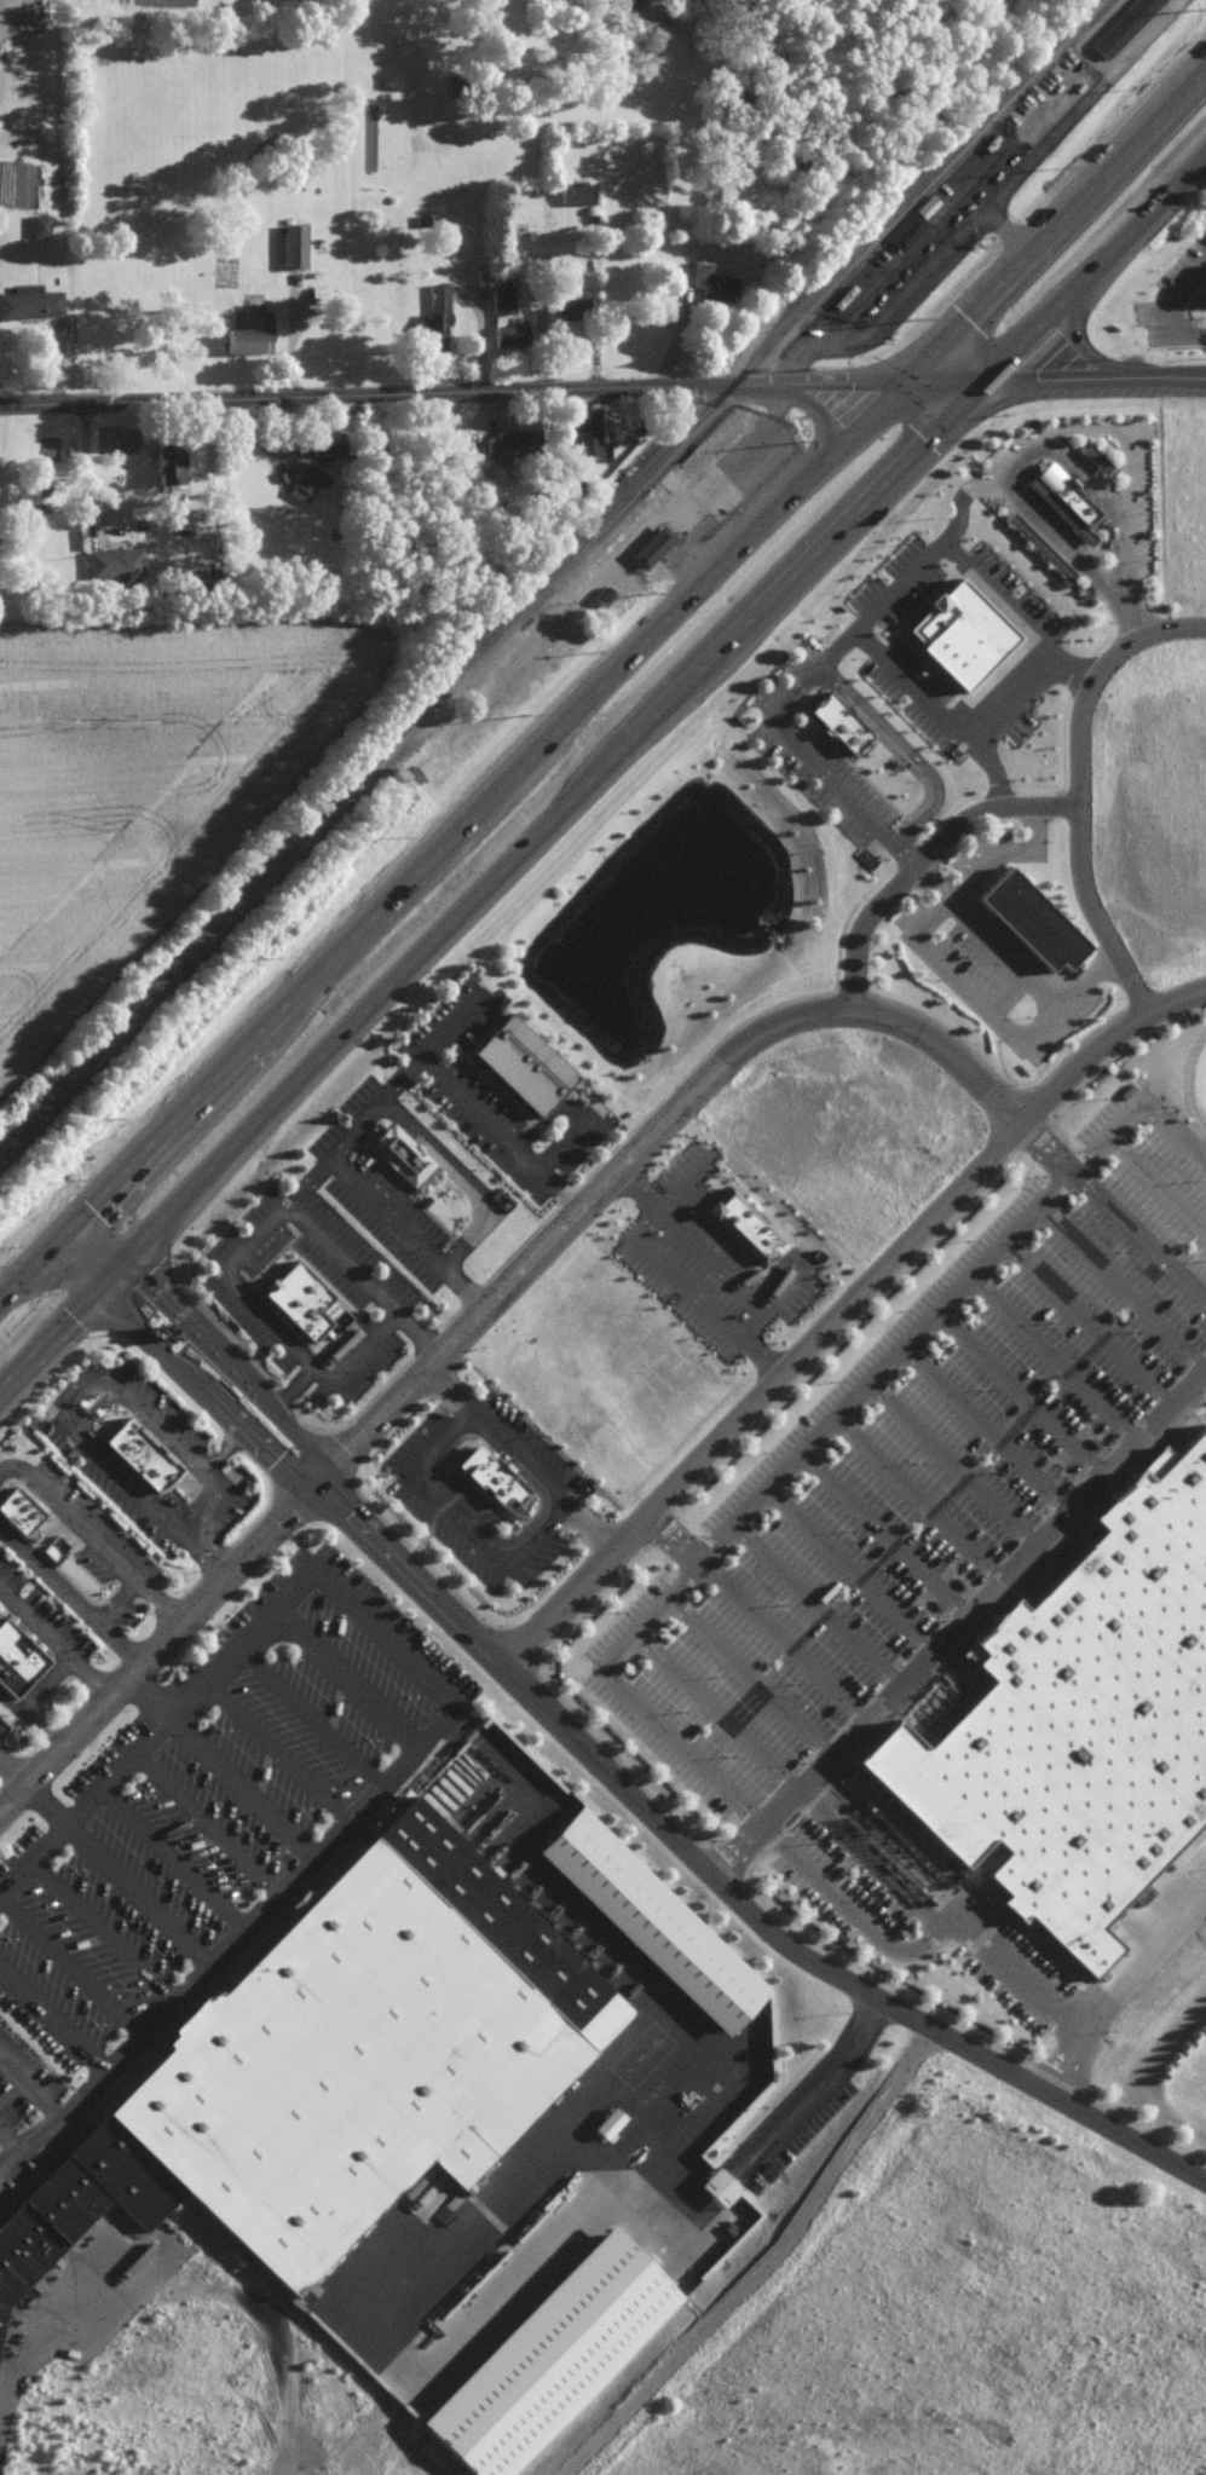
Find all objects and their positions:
building: (1124, 27)
building: (578, 194)
building: (41, 226)
building: (907, 232)
road: (1006, 232)
building: (295, 246)
road: (947, 249)
building: (710, 282)
building: (1205, 289)
building: (504, 300)
building: (31, 302)
building: (571, 302)
road: (1178, 306)
building: (437, 318)
building: (253, 333)
building: (512, 335)
road: (1077, 336)
road: (1056, 379)
traffic signals: (906, 380)
traffic signals: (986, 381)
road: (452, 392)
road: (823, 411)
building: (588, 435)
building: (327, 443)
building: (513, 443)
building: (1097, 458)
building: (169, 463)
road: (83, 466)
building: (308, 483)
road: (965, 495)
building: (1066, 501)
road: (1113, 503)
road: (1035, 520)
building: (1033, 541)
building: (653, 547)
building: (186, 562)
building: (115, 564)
railway: (550, 576)
road: (1004, 594)
road: (881, 599)
road: (1130, 612)
road: (1031, 681)
road: (601, 686)
road: (941, 705)
building: (841, 723)
road: (907, 748)
road: (819, 765)
road: (600, 771)
road: (1086, 785)
road: (929, 854)
building: (1040, 917)
road: (918, 939)
road: (1020, 960)
road: (952, 1048)
building: (525, 1065)
road: (456, 1090)
road: (357, 1127)
building: (405, 1158)
road: (546, 1159)
road: (462, 1173)
road: (1155, 1183)
traffic signals: (97, 1201)
road: (1112, 1211)
building: (749, 1228)
road: (408, 1231)
road: (241, 1250)
traffic signals: (148, 1273)
road: (679, 1280)
road: (1121, 1287)
building: (304, 1300)
traffic signals: (76, 1309)
road: (841, 1309)
road: (1087, 1322)
road: (208, 1339)
road: (1052, 1360)
road: (179, 1369)
road: (90, 1373)
road: (415, 1379)
road: (290, 1387)
road: (451, 1387)
road: (1021, 1392)
road: (986, 1429)
road: (819, 1432)
road: (223, 1446)
building: (138, 1454)
road: (520, 1458)
road: (952, 1465)
traffic signals: (319, 1479)
building: (495, 1481)
road: (918, 1499)
building: (21, 1515)
road: (461, 1517)
road: (590, 1528)
road: (93, 1535)
road: (884, 1535)
road: (207, 1551)
road: (850, 1570)
road: (70, 1594)
road: (816, 1605)
road: (756, 1619)
road: (960, 1625)
road: (53, 1643)
building: (17, 1660)
road: (748, 1677)
road: (36, 1691)
road: (451, 1710)
road: (712, 1710)
building: (1080, 1720)
road: (219, 1767)
road: (13, 1769)
road: (866, 1858)
road: (115, 1874)
road: (721, 1883)
building: (1143, 1894)
building: (653, 1920)
road: (103, 1928)
road: (919, 1943)
road: (1154, 1944)
road: (70, 1966)
road: (52, 2020)
road: (1078, 2046)
building: (346, 2055)
road: (824, 2084)
road: (29, 2089)
road: (10, 2144)
building: (720, 2187)
building: (44, 2223)
building: (553, 2356)
road: (21, 2369)
road: (296, 2370)

